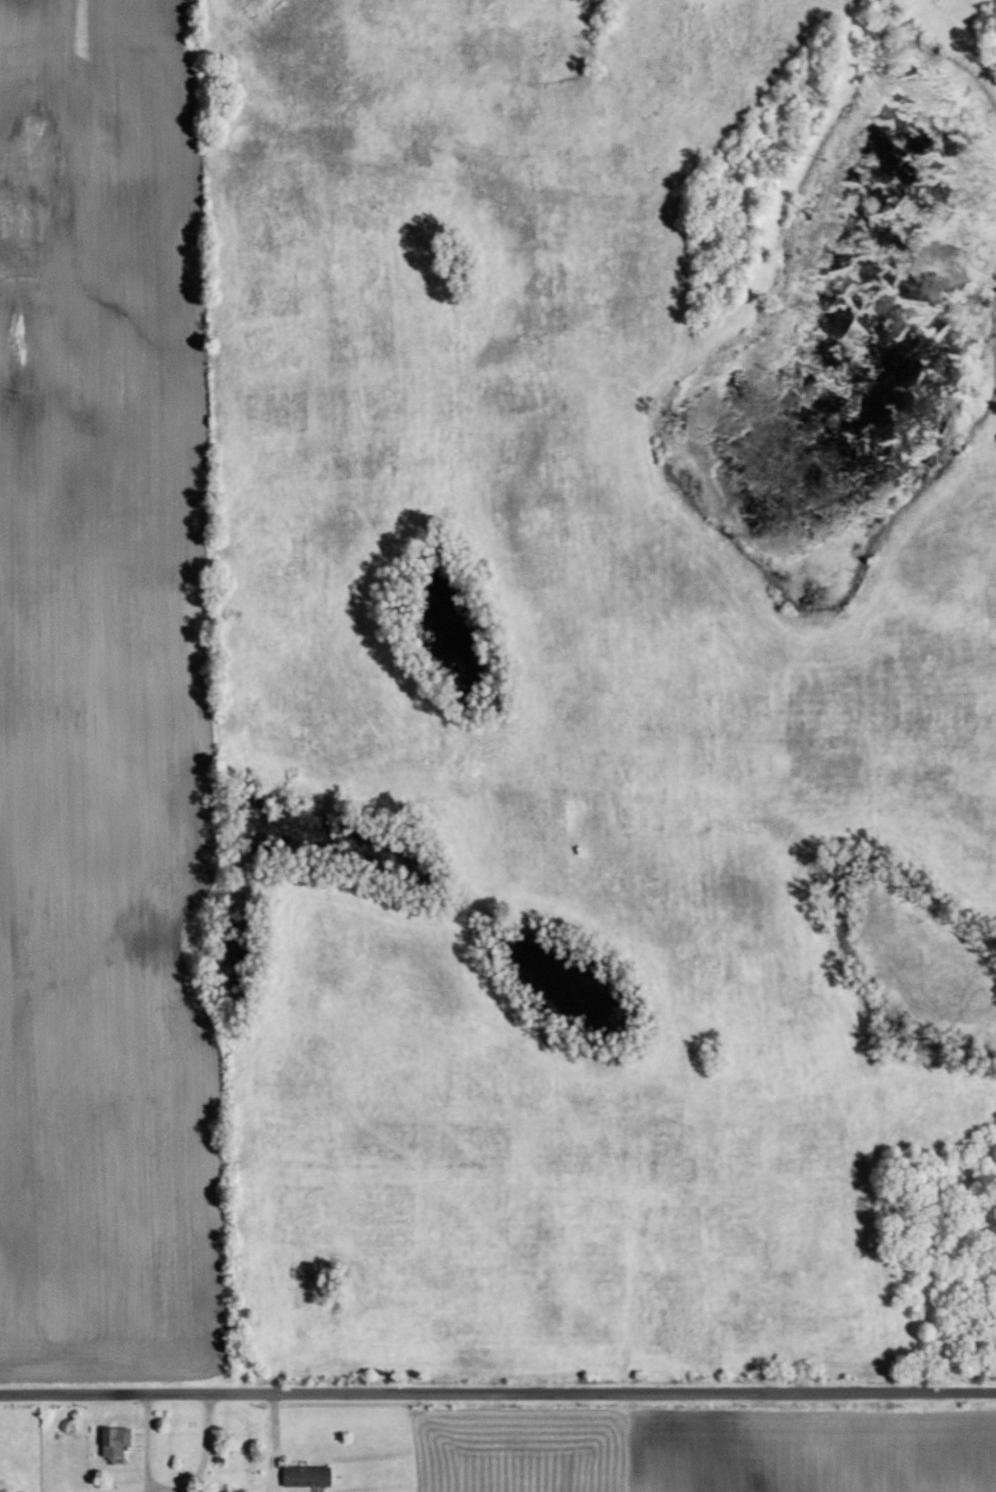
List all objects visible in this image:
road: (498, 1392)
building: (114, 1440)
building: (306, 1475)
building: (219, 1490)

